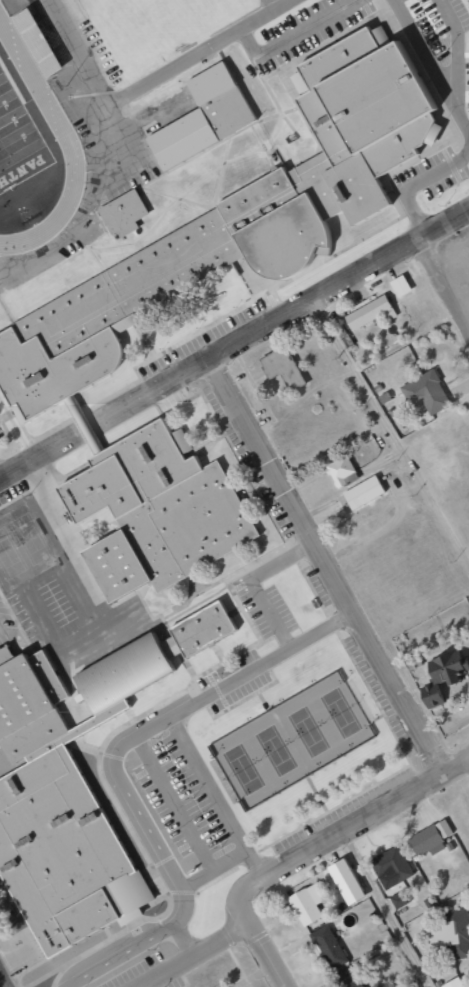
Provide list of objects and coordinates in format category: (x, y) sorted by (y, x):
building: (40, 41)
road: (199, 53)
road: (95, 87)
building: (208, 117)
park: (20, 138)
track: (72, 145)
building: (128, 211)
building: (239, 219)
road: (441, 285)
building: (400, 286)
building: (370, 313)
road: (235, 344)
building: (282, 367)
building: (425, 392)
road: (393, 429)
building: (342, 472)
building: (363, 492)
building: (163, 509)
road: (328, 566)
building: (441, 676)
park: (295, 739)
road: (119, 775)
building: (78, 787)
road: (350, 826)
building: (427, 841)
building: (391, 865)
building: (350, 886)
building: (308, 903)
road: (389, 908)
building: (451, 933)
road: (259, 939)
building: (329, 947)
road: (200, 957)
building: (348, 977)
road: (1, 983)
building: (453, 983)

